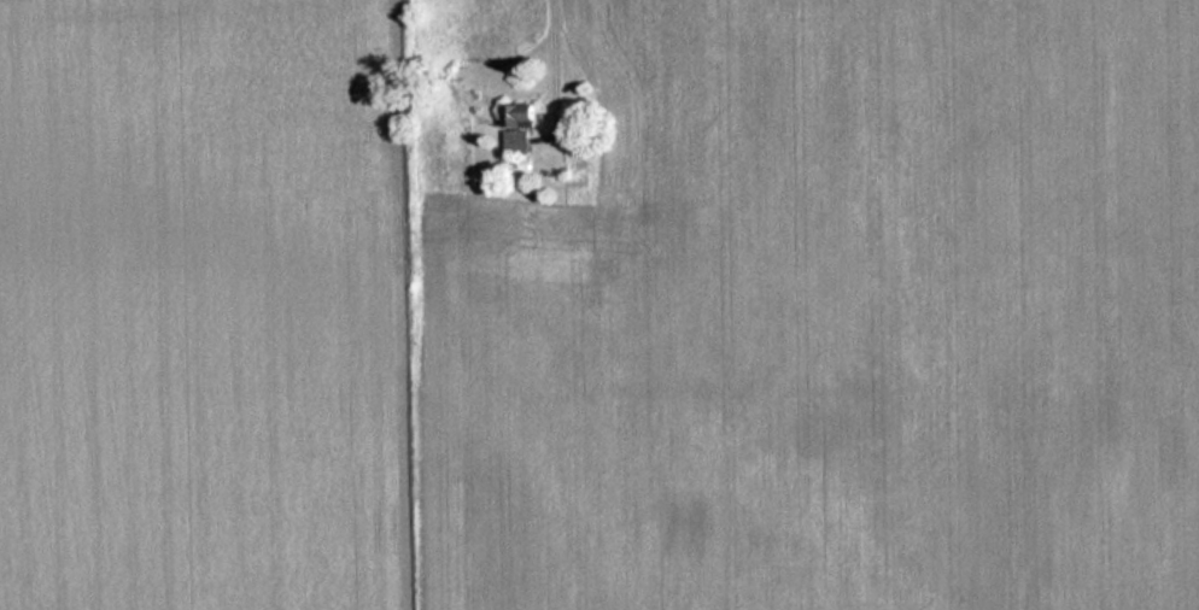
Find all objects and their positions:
building: (524, 128)

